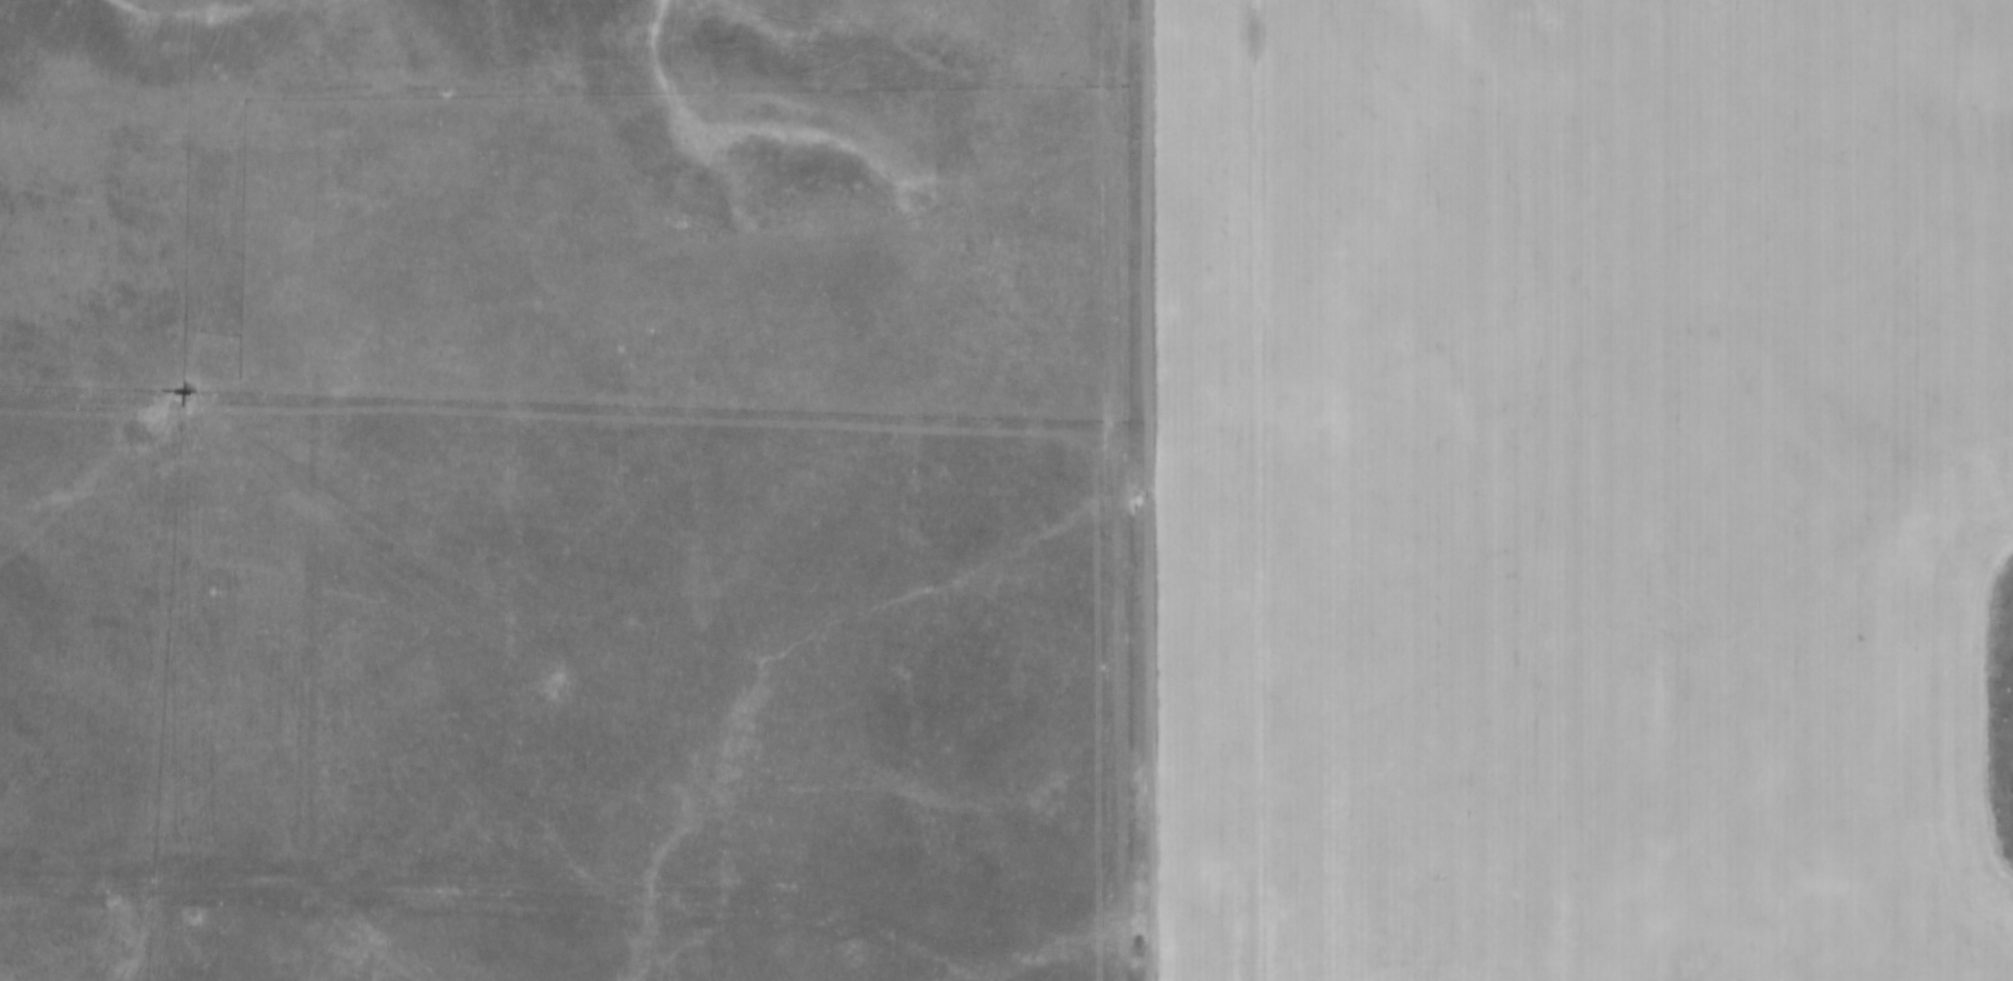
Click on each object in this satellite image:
road: (1146, 490)

